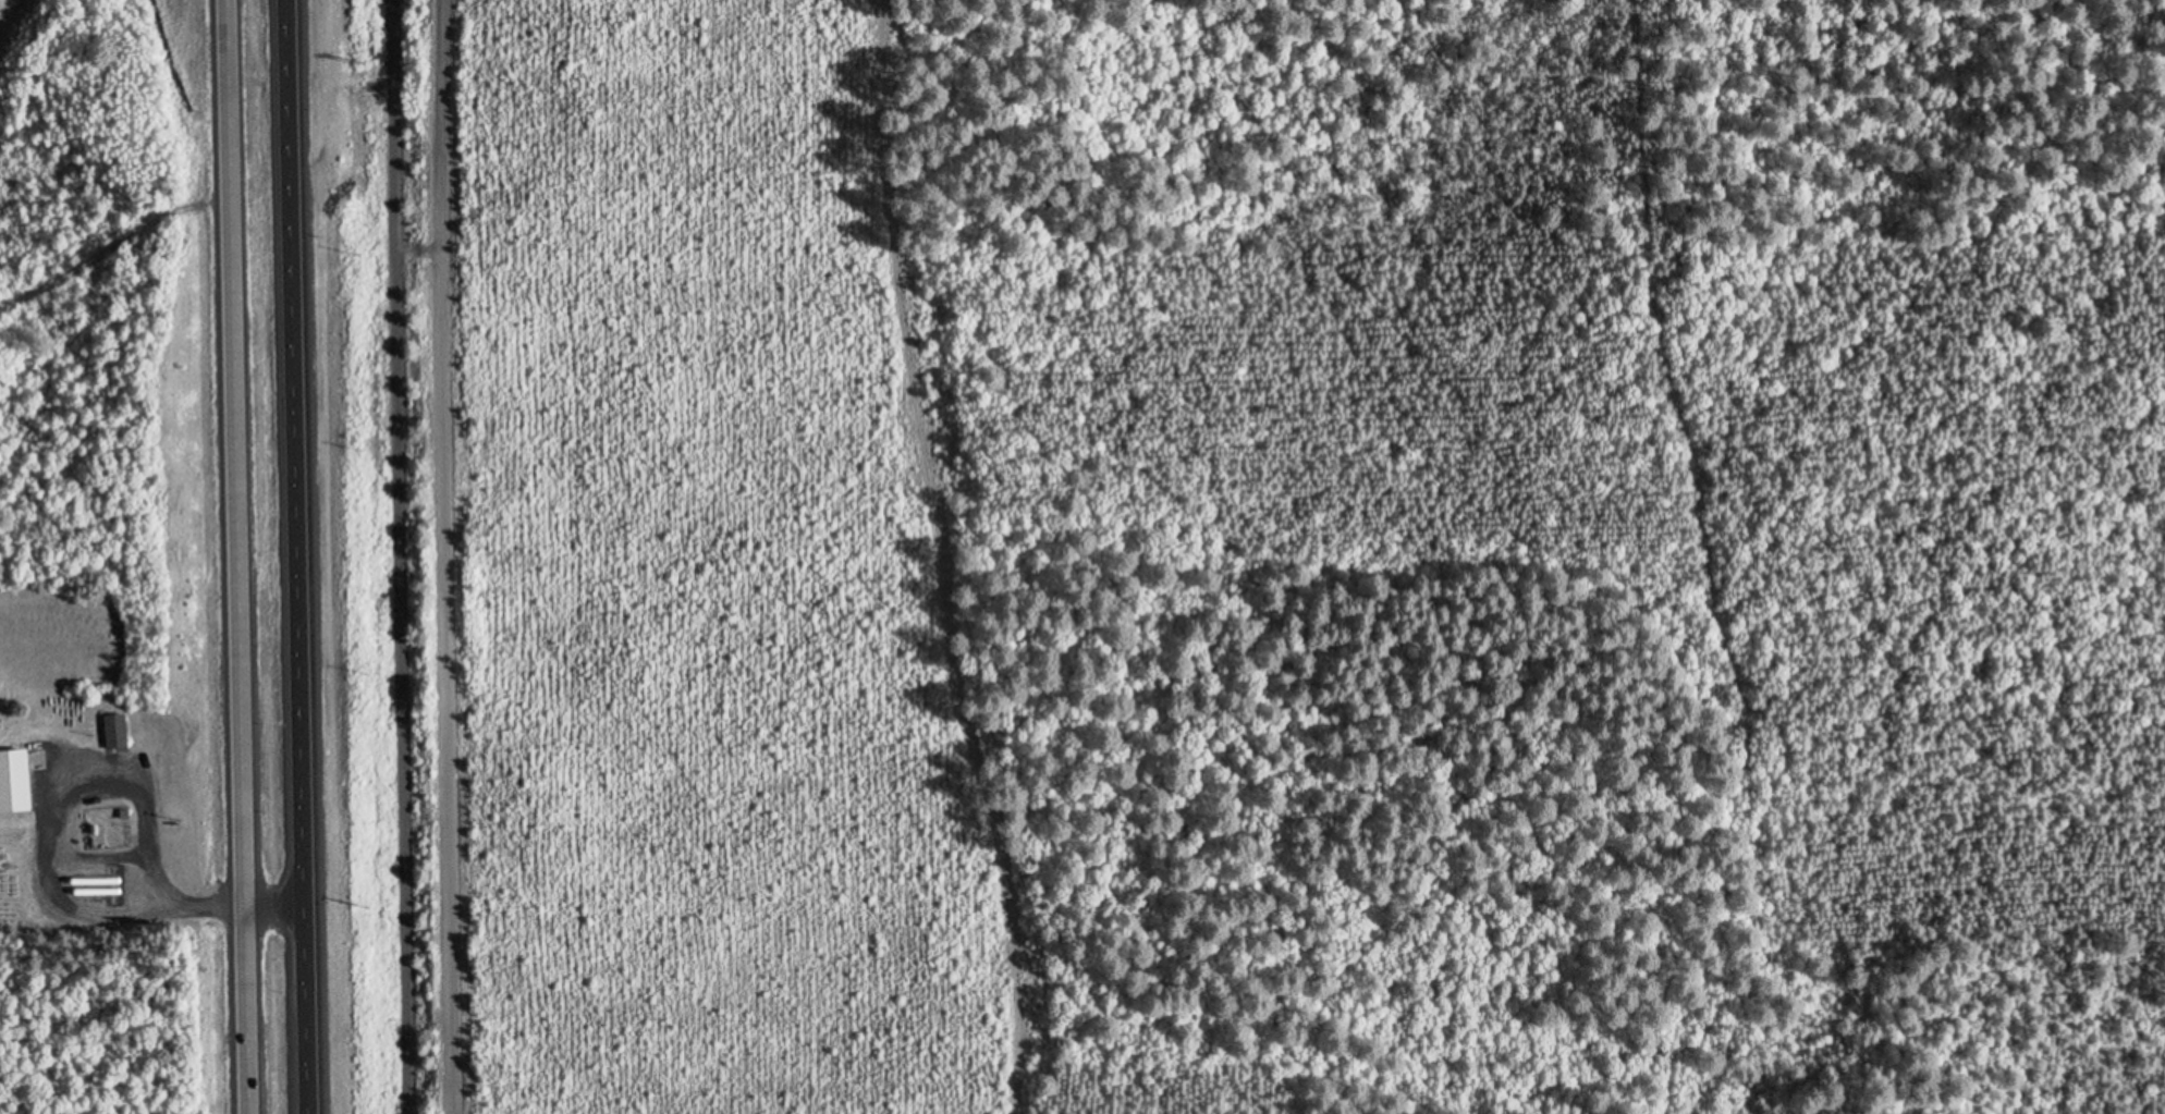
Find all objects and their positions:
road: (412, 259)
road: (235, 556)
road: (294, 556)
road: (393, 556)
road: (440, 556)
building: (114, 730)
building: (16, 780)
road: (53, 828)
building: (98, 884)
storage tank: (98, 884)
road: (168, 905)

